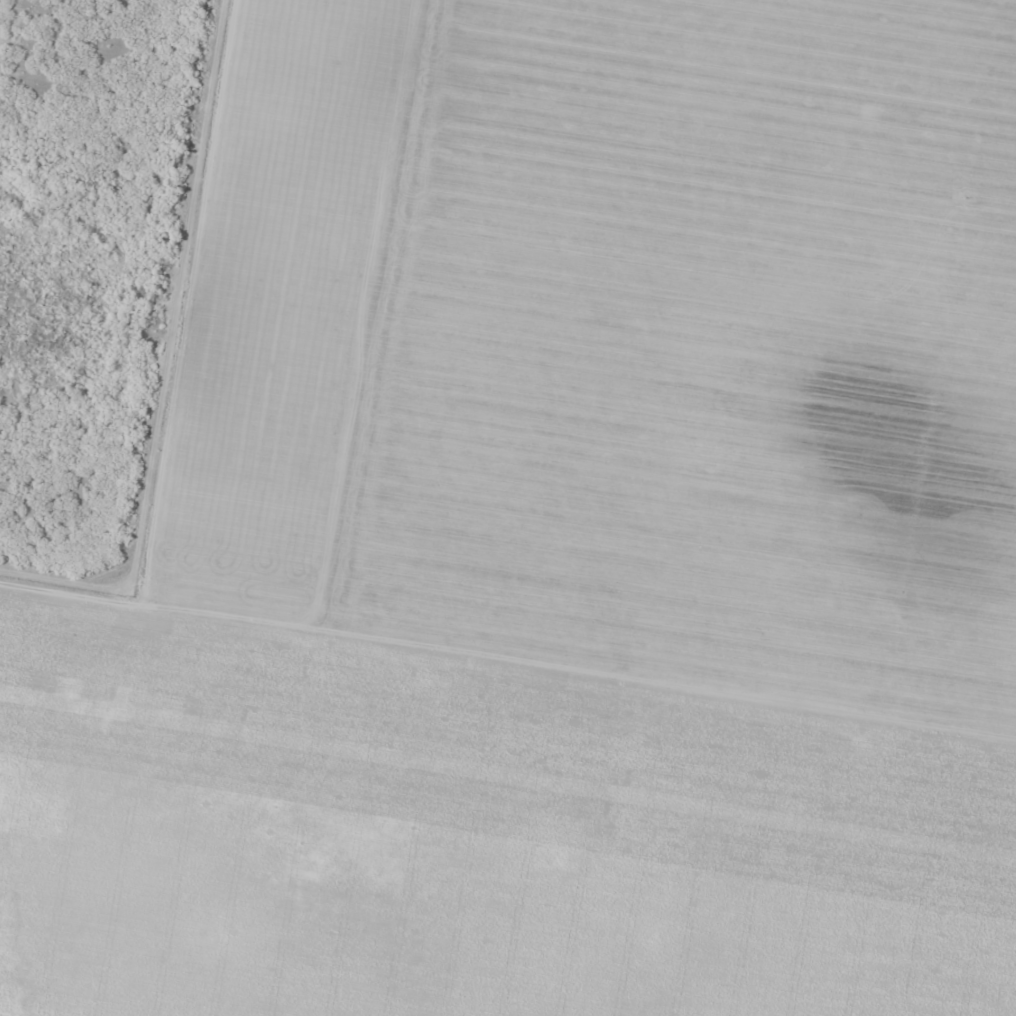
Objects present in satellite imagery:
road: (508, 660)

